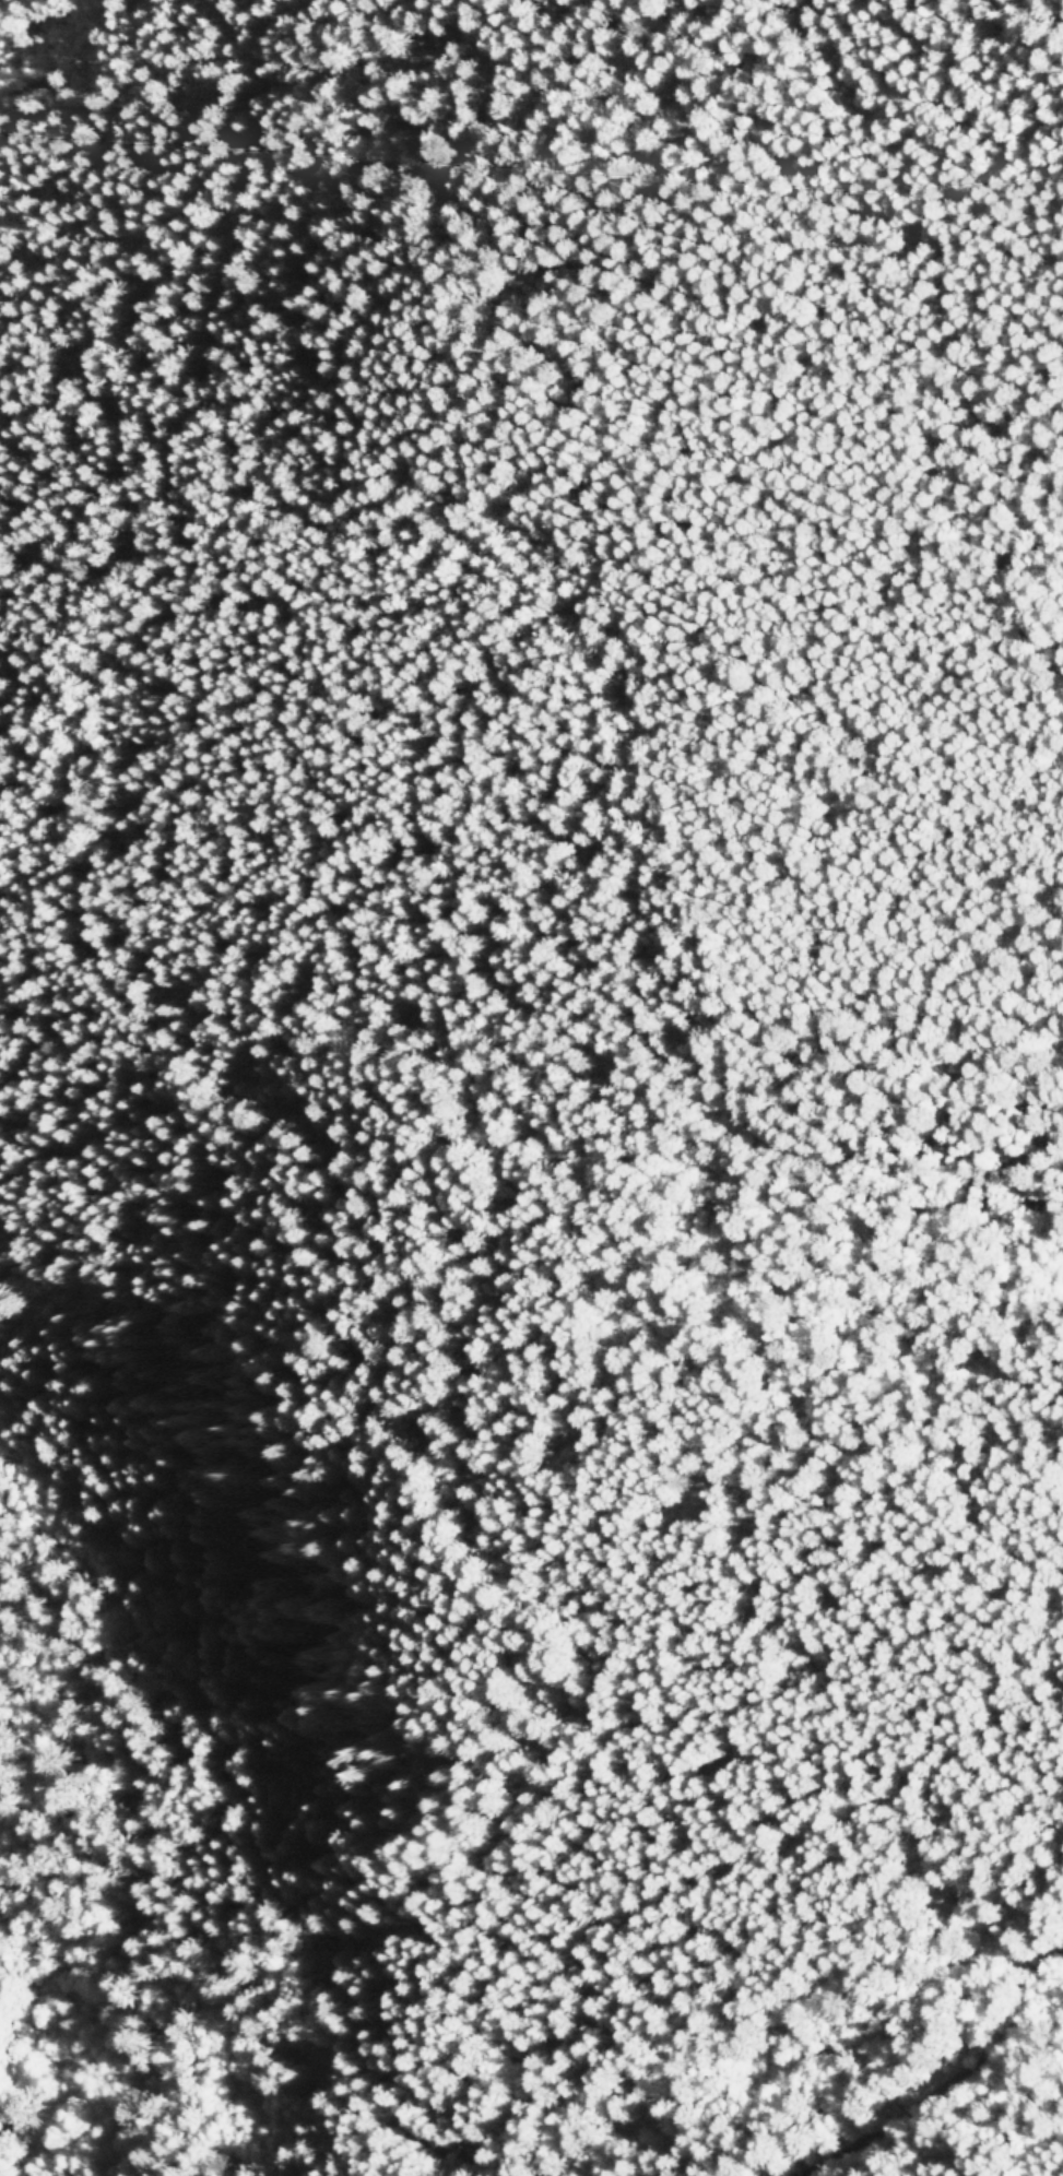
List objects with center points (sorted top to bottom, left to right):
road: (48, 49)
road: (382, 2102)
road: (912, 2139)

